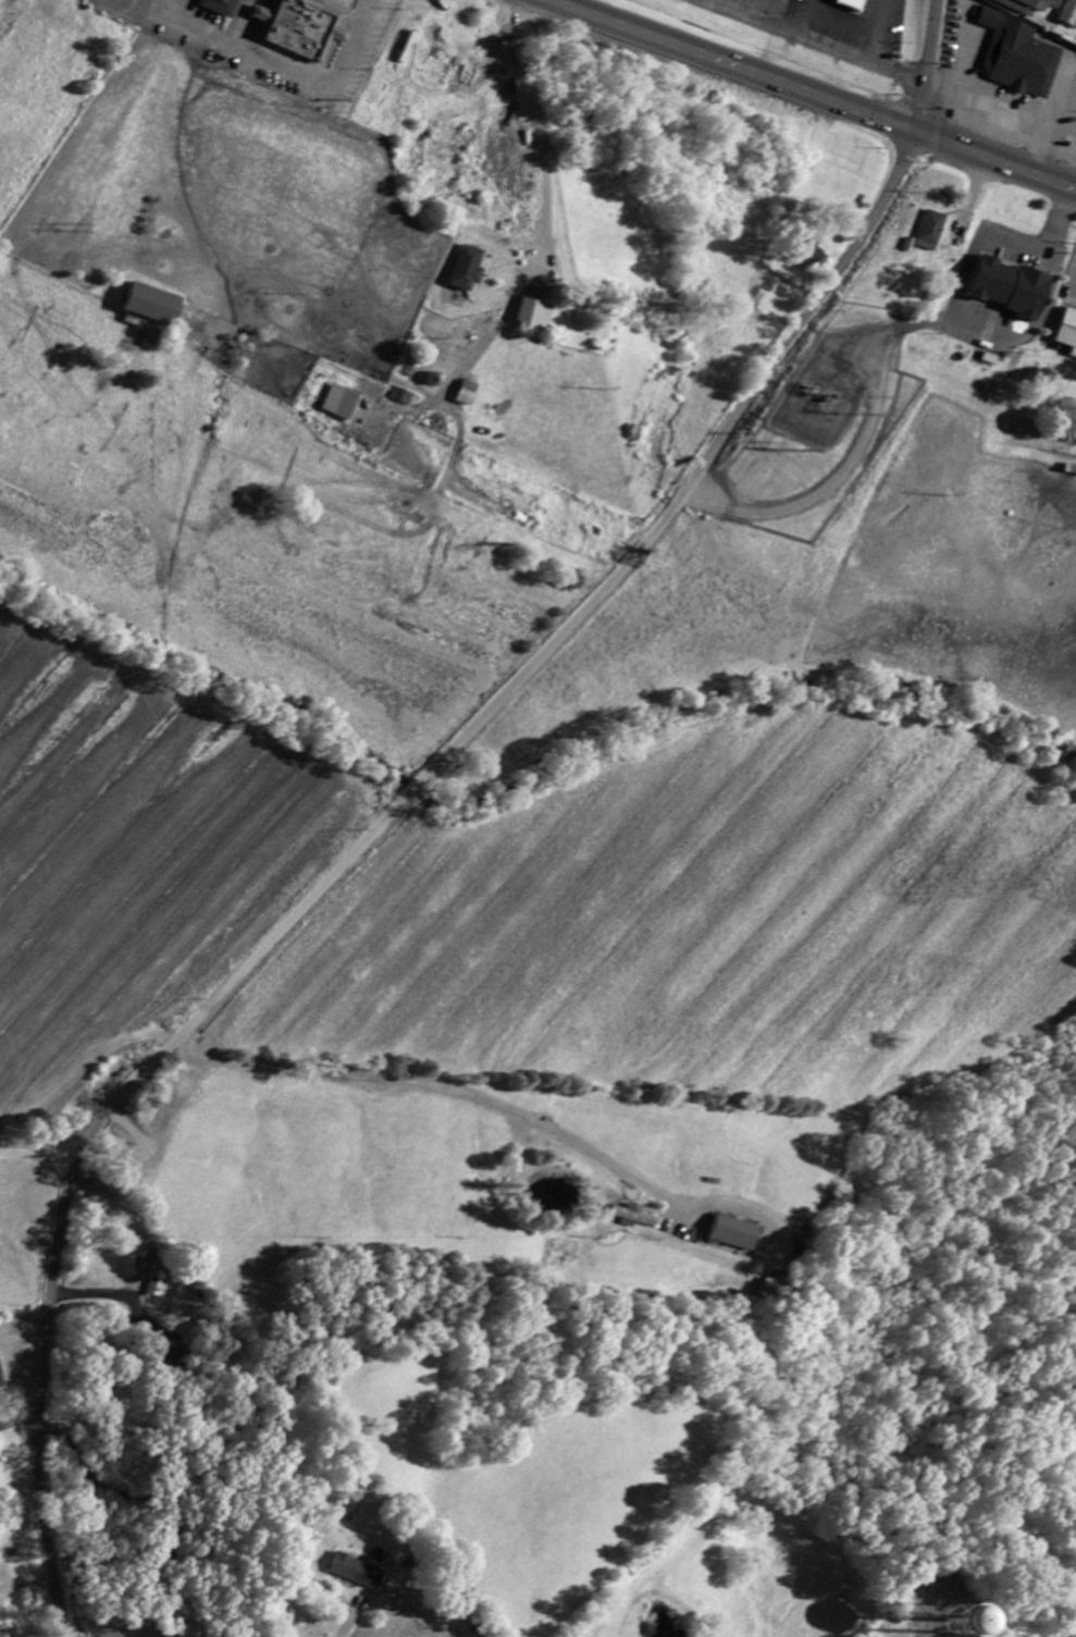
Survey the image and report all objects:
building: (853, 4)
building: (218, 5)
building: (1028, 5)
road: (764, 13)
building: (1069, 15)
road: (805, 19)
road: (842, 22)
building: (297, 26)
road: (876, 32)
road: (805, 41)
building: (1022, 59)
road: (926, 65)
road: (814, 95)
road: (534, 127)
building: (931, 233)
building: (815, 259)
building: (469, 271)
building: (1013, 291)
building: (151, 307)
building: (536, 316)
building: (1068, 333)
building: (150, 342)
building: (470, 396)
building: (405, 398)
building: (343, 405)
road: (361, 845)
road: (348, 1056)
road: (37, 1156)
building: (635, 1219)
building: (739, 1234)
building: (137, 1256)
building: (160, 1285)
building: (776, 1288)
road: (107, 1289)
building: (2, 1378)
road: (203, 1562)
building: (358, 1573)
building: (973, 1625)

